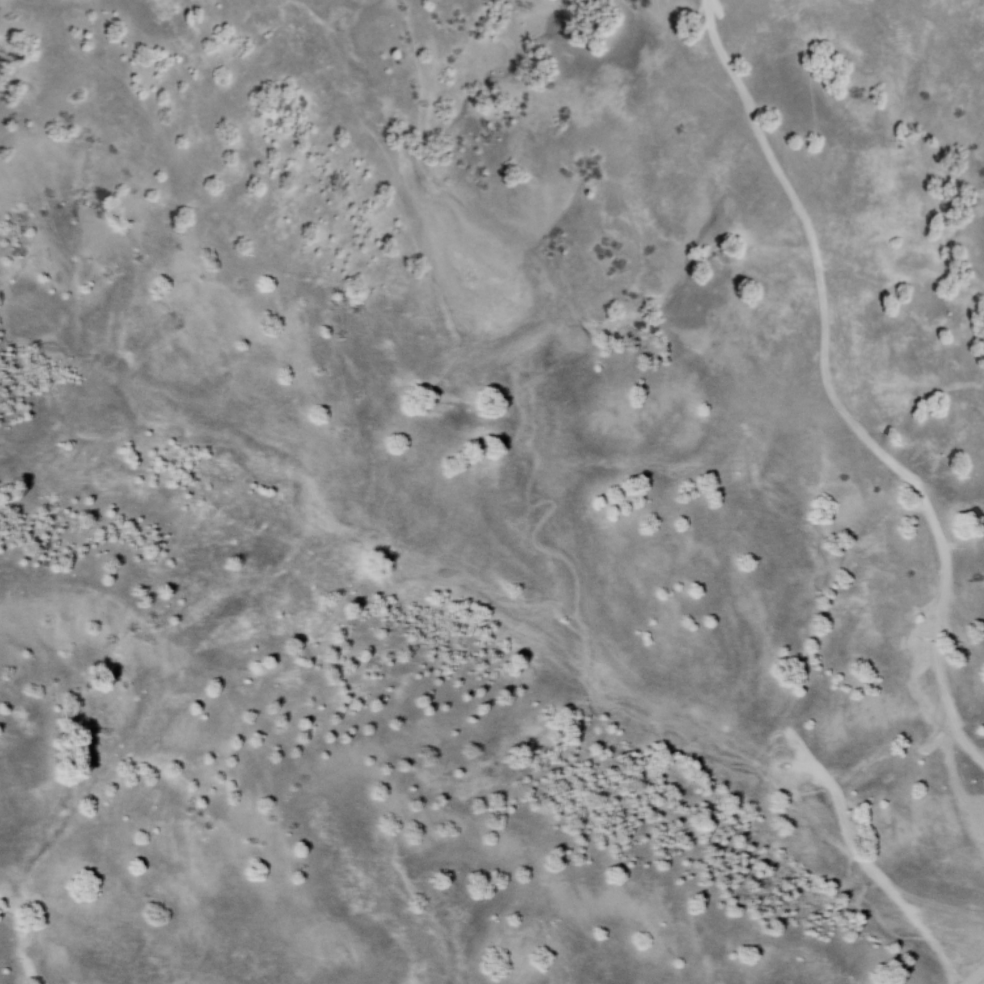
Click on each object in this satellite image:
road: (981, 981)

